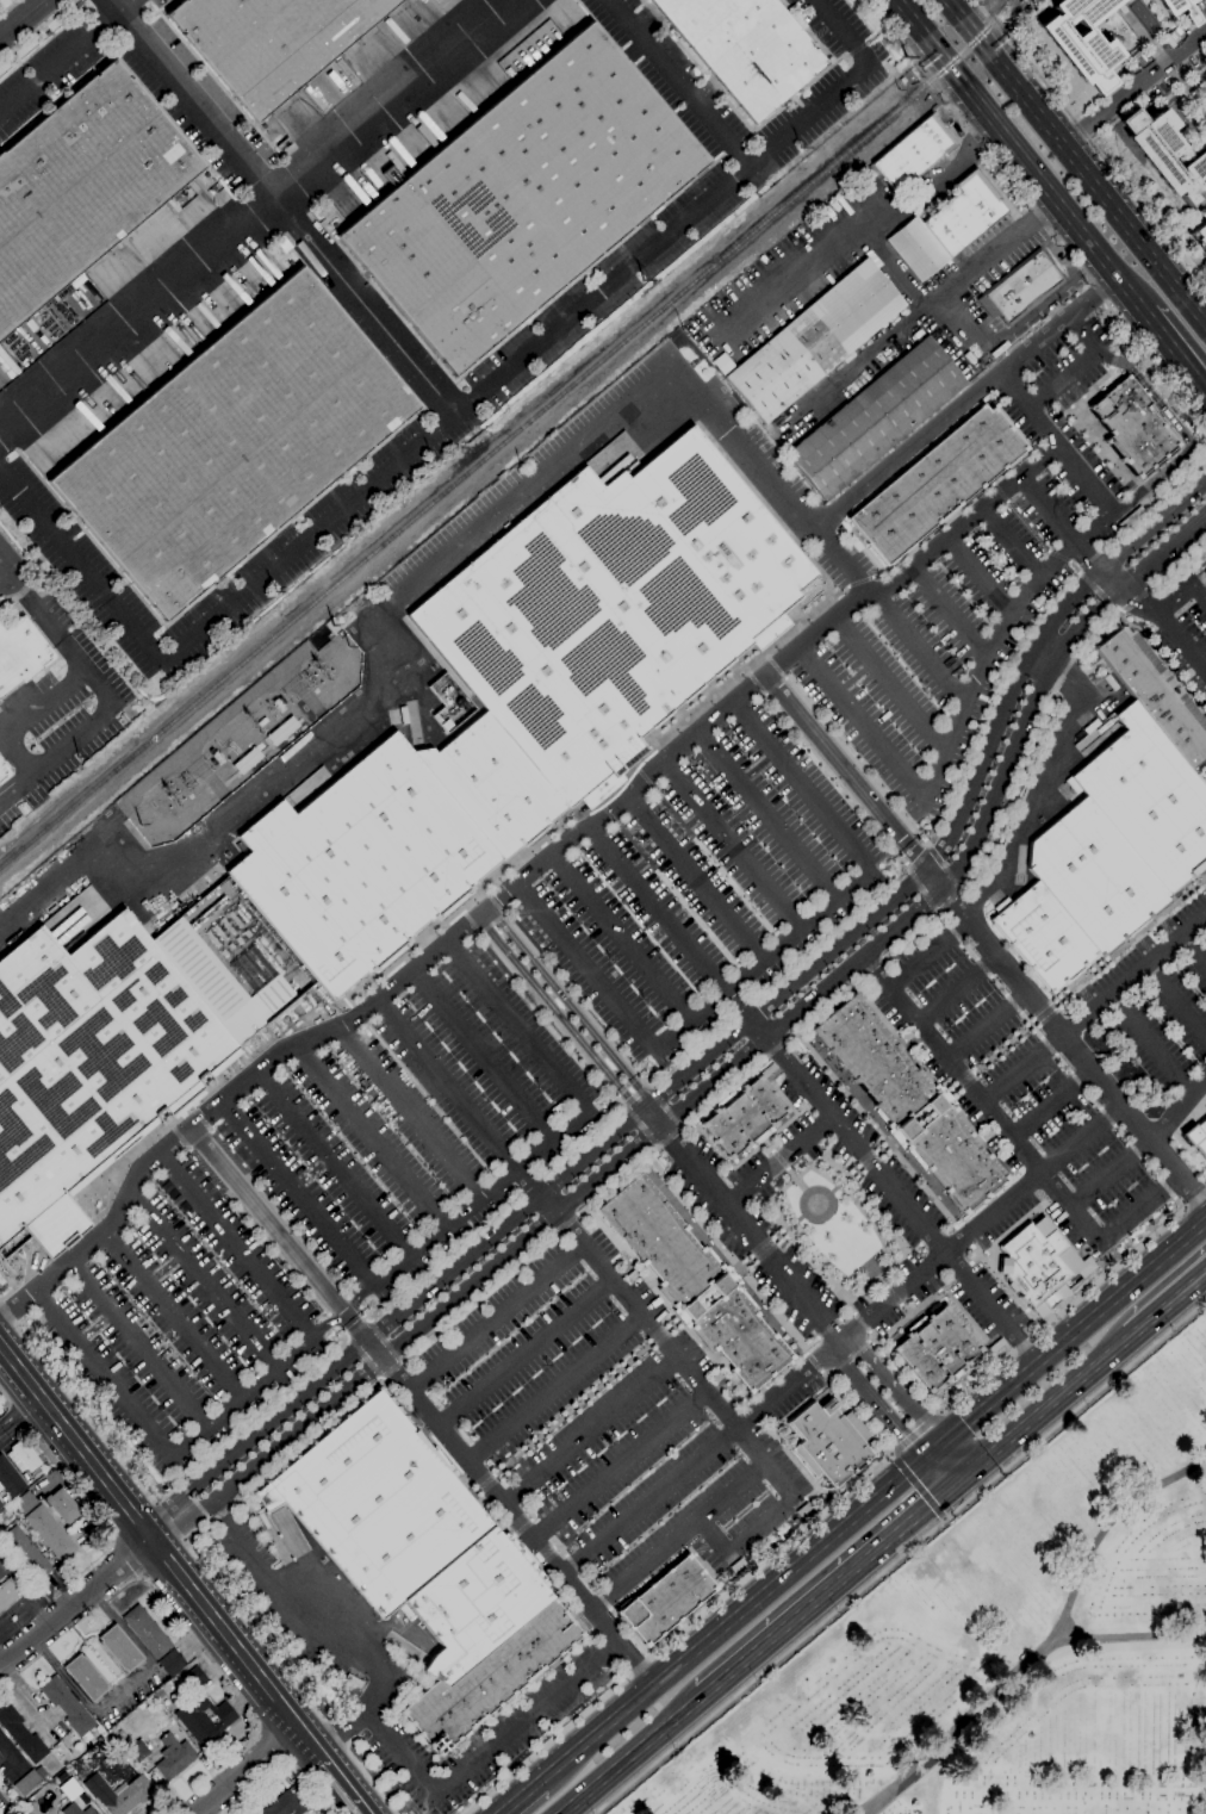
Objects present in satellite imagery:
road: (8, 7)
road: (112, 7)
road: (987, 13)
building: (1187, 13)
building: (1142, 17)
road: (21, 18)
road: (36, 30)
road: (895, 38)
building: (271, 41)
building: (1081, 42)
building: (744, 48)
road: (68, 56)
building: (901, 80)
road: (677, 82)
road: (1132, 86)
building: (912, 154)
building: (1165, 154)
road: (1020, 156)
road: (1101, 159)
road: (1075, 162)
building: (81, 186)
building: (521, 199)
road: (254, 213)
road: (286, 215)
building: (946, 226)
road: (864, 232)
building: (1199, 240)
road: (1065, 253)
building: (1020, 287)
road: (922, 309)
road: (1058, 325)
road: (977, 336)
building: (814, 341)
road: (1175, 353)
building: (721, 364)
road: (1082, 366)
road: (1031, 409)
road: (452, 417)
building: (876, 417)
building: (1133, 425)
road: (1181, 434)
railway: (509, 437)
building: (232, 443)
road: (907, 451)
building: (937, 484)
road: (1067, 539)
road: (1009, 543)
road: (1202, 552)
road: (1165, 555)
road: (1205, 557)
road: (843, 563)
road: (2, 569)
road: (1195, 572)
road: (980, 578)
road: (18, 585)
road: (1183, 590)
road: (12, 597)
road: (396, 597)
road: (1140, 598)
building: (610, 609)
road: (947, 613)
parking lot: (962, 627)
parking lot: (1174, 629)
road: (1181, 640)
road: (918, 650)
building: (20, 654)
road: (889, 687)
road: (971, 694)
building: (1151, 698)
building: (448, 702)
road: (112, 710)
road: (24, 717)
building: (279, 732)
power substation: (241, 737)
building: (245, 762)
building: (4, 772)
road: (1036, 782)
building: (490, 784)
road: (766, 816)
road: (959, 822)
road: (731, 846)
building: (1108, 852)
building: (358, 865)
road: (521, 882)
road: (695, 882)
parking lot: (707, 889)
road: (491, 922)
road: (670, 922)
road: (622, 938)
road: (986, 943)
road: (1193, 951)
road: (928, 956)
road: (766, 961)
road: (957, 989)
road: (573, 1001)
road: (1175, 1002)
road: (570, 1007)
road: (1094, 1008)
parking lot: (1155, 1011)
road: (559, 1015)
road: (551, 1019)
road: (987, 1025)
road: (520, 1029)
road: (1150, 1043)
building: (104, 1057)
road: (485, 1057)
road: (952, 1066)
parking lot: (1033, 1086)
road: (645, 1087)
road: (941, 1099)
road: (459, 1100)
road: (1050, 1101)
road: (684, 1104)
building: (907, 1104)
road: (1175, 1108)
building: (1205, 1112)
road: (412, 1114)
building: (747, 1117)
parking lot: (425, 1120)
building: (1196, 1136)
road: (373, 1138)
road: (777, 1160)
road: (777, 1161)
road: (335, 1167)
road: (1109, 1175)
road: (884, 1182)
road: (800, 1186)
road: (101, 1194)
road: (801, 1204)
road: (881, 1217)
road: (980, 1224)
road: (741, 1225)
road: (1104, 1237)
road: (238, 1245)
road: (795, 1245)
road: (894, 1253)
road: (721, 1254)
road: (975, 1255)
road: (815, 1261)
road: (1114, 1263)
building: (1039, 1266)
road: (23, 1267)
road: (866, 1267)
road: (870, 1273)
road: (204, 1279)
road: (390, 1279)
building: (691, 1282)
road: (1008, 1291)
road: (845, 1292)
road: (890, 1296)
road: (358, 1297)
road: (1168, 1304)
road: (337, 1306)
road: (913, 1310)
road: (640, 1313)
road: (175, 1316)
road: (965, 1317)
road: (497, 1319)
road: (392, 1321)
road: (327, 1323)
road: (859, 1323)
parking lot: (185, 1325)
road: (826, 1329)
road: (1074, 1332)
road: (139, 1344)
road: (644, 1348)
building: (935, 1349)
road: (1032, 1352)
road: (527, 1356)
road: (848, 1358)
road: (812, 1363)
road: (102, 1374)
road: (984, 1375)
road: (907, 1379)
road: (827, 1380)
road: (893, 1389)
road: (555, 1390)
road: (835, 1391)
road: (242, 1398)
road: (4, 1402)
road: (872, 1404)
road: (1048, 1404)
building: (0, 1410)
building: (0, 1411)
road: (19, 1418)
road: (17, 1419)
parking lot: (586, 1419)
road: (918, 1431)
road: (592, 1434)
road: (33, 1440)
building: (827, 1442)
traffic signals: (941, 1445)
road: (931, 1453)
building: (23, 1456)
road: (953, 1458)
road: (702, 1461)
traffic signals: (920, 1462)
road: (622, 1468)
traffic signals: (966, 1472)
road: (932, 1477)
building: (8, 1479)
road: (956, 1481)
road: (916, 1487)
traffic signals: (945, 1491)
road: (79, 1495)
building: (4, 1499)
building: (24, 1503)
building: (374, 1503)
building: (0, 1505)
building: (62, 1507)
road: (777, 1514)
road: (1108, 1518)
building: (49, 1534)
road: (112, 1540)
road: (679, 1540)
road: (157, 1551)
building: (23, 1555)
road: (900, 1557)
road: (124, 1558)
road: (199, 1560)
building: (1, 1572)
road: (136, 1577)
road: (143, 1580)
road: (568, 1584)
road: (823, 1592)
building: (7, 1594)
building: (666, 1598)
road: (75, 1601)
road: (164, 1602)
building: (472, 1602)
road: (728, 1622)
road: (182, 1626)
building: (147, 1632)
road: (323, 1633)
road: (676, 1633)
park: (1005, 1645)
building: (119, 1650)
building: (170, 1663)
building: (194, 1677)
building: (490, 1677)
road: (1025, 1677)
building: (85, 1678)
building: (157, 1694)
building: (67, 1708)
building: (204, 1720)
building: (98, 1731)
building: (20, 1735)
building: (137, 1751)
road: (483, 1751)
road: (630, 1754)
building: (173, 1757)
building: (0, 1758)
building: (0, 1760)
road: (244, 1771)
building: (42, 1773)
building: (26, 1783)
road: (338, 1783)
building: (68, 1789)
building: (118, 1793)
road: (927, 1795)
road: (517, 1797)
building: (282, 1804)
building: (75, 1809)

